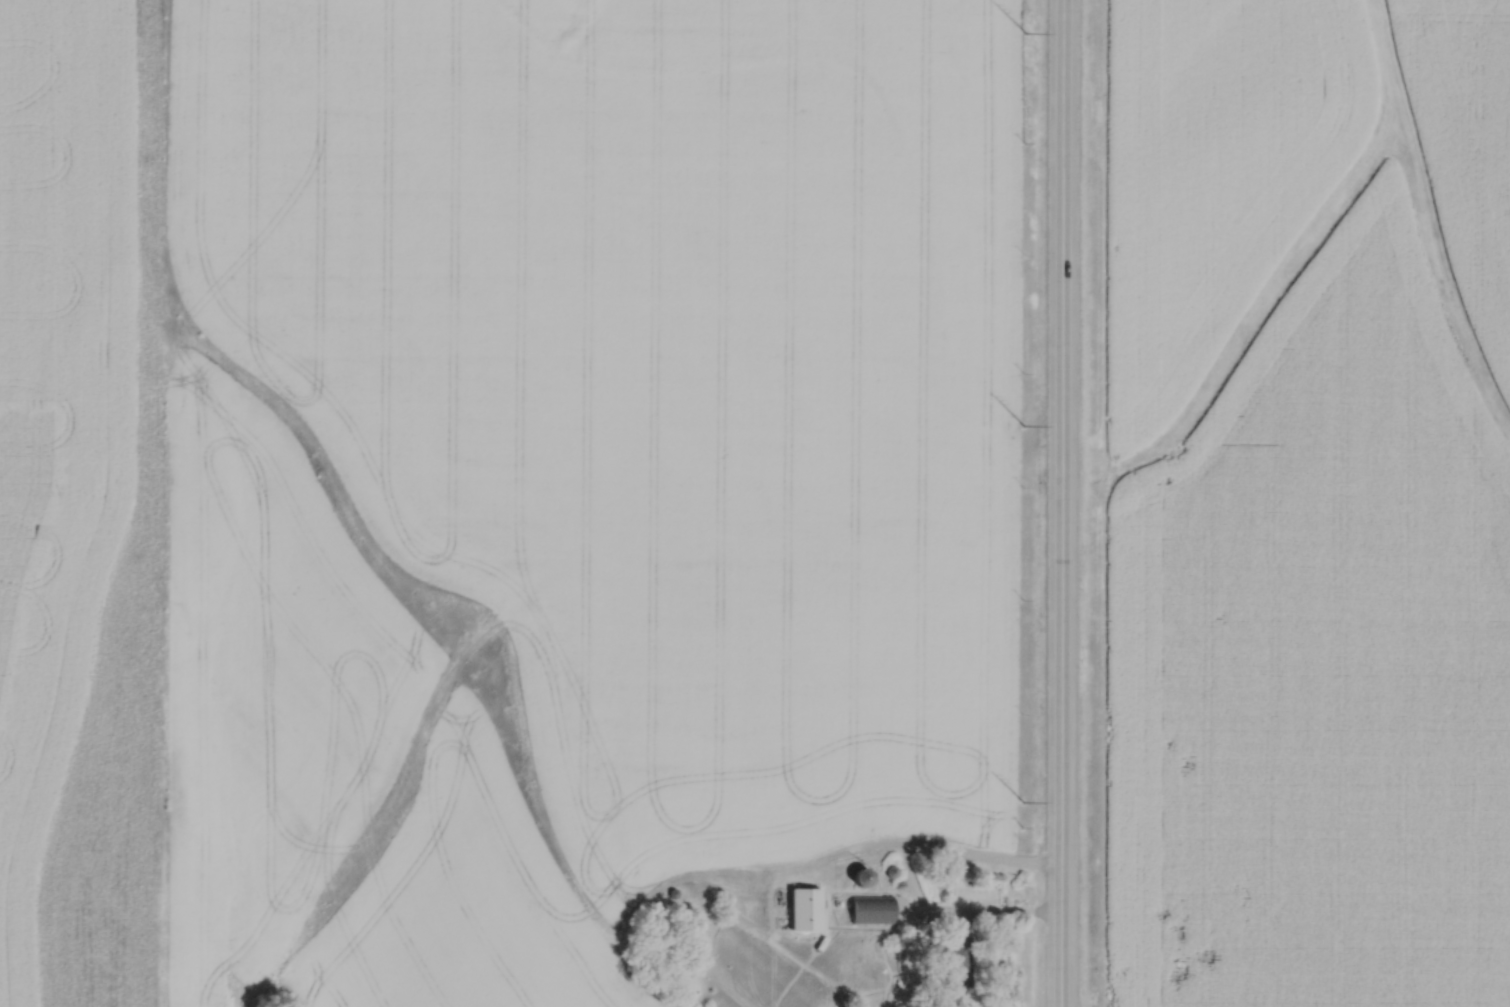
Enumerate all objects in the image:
power tower: (1023, 33)
power tower: (1022, 425)
road: (1060, 503)
power tower: (1020, 802)
building: (864, 876)
building: (874, 909)
road: (990, 910)
building: (958, 960)

